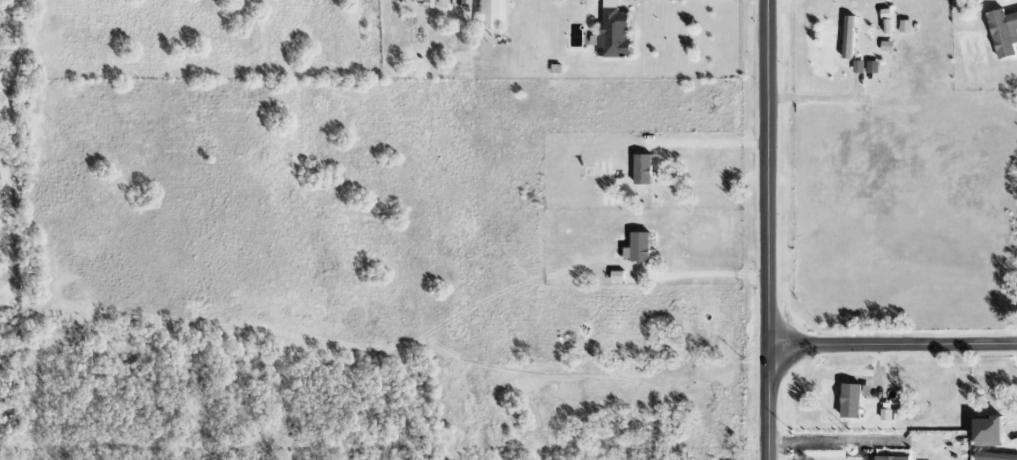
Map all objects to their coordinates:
building: (420, 2)
road: (1007, 4)
building: (487, 13)
building: (886, 26)
building: (904, 27)
building: (611, 31)
building: (1002, 32)
building: (846, 38)
building: (885, 47)
building: (856, 67)
building: (870, 67)
road: (712, 145)
building: (640, 170)
road: (770, 229)
building: (635, 248)
road: (894, 347)
building: (848, 400)
building: (884, 414)
building: (984, 431)
road: (825, 440)
building: (993, 456)
building: (889, 458)

